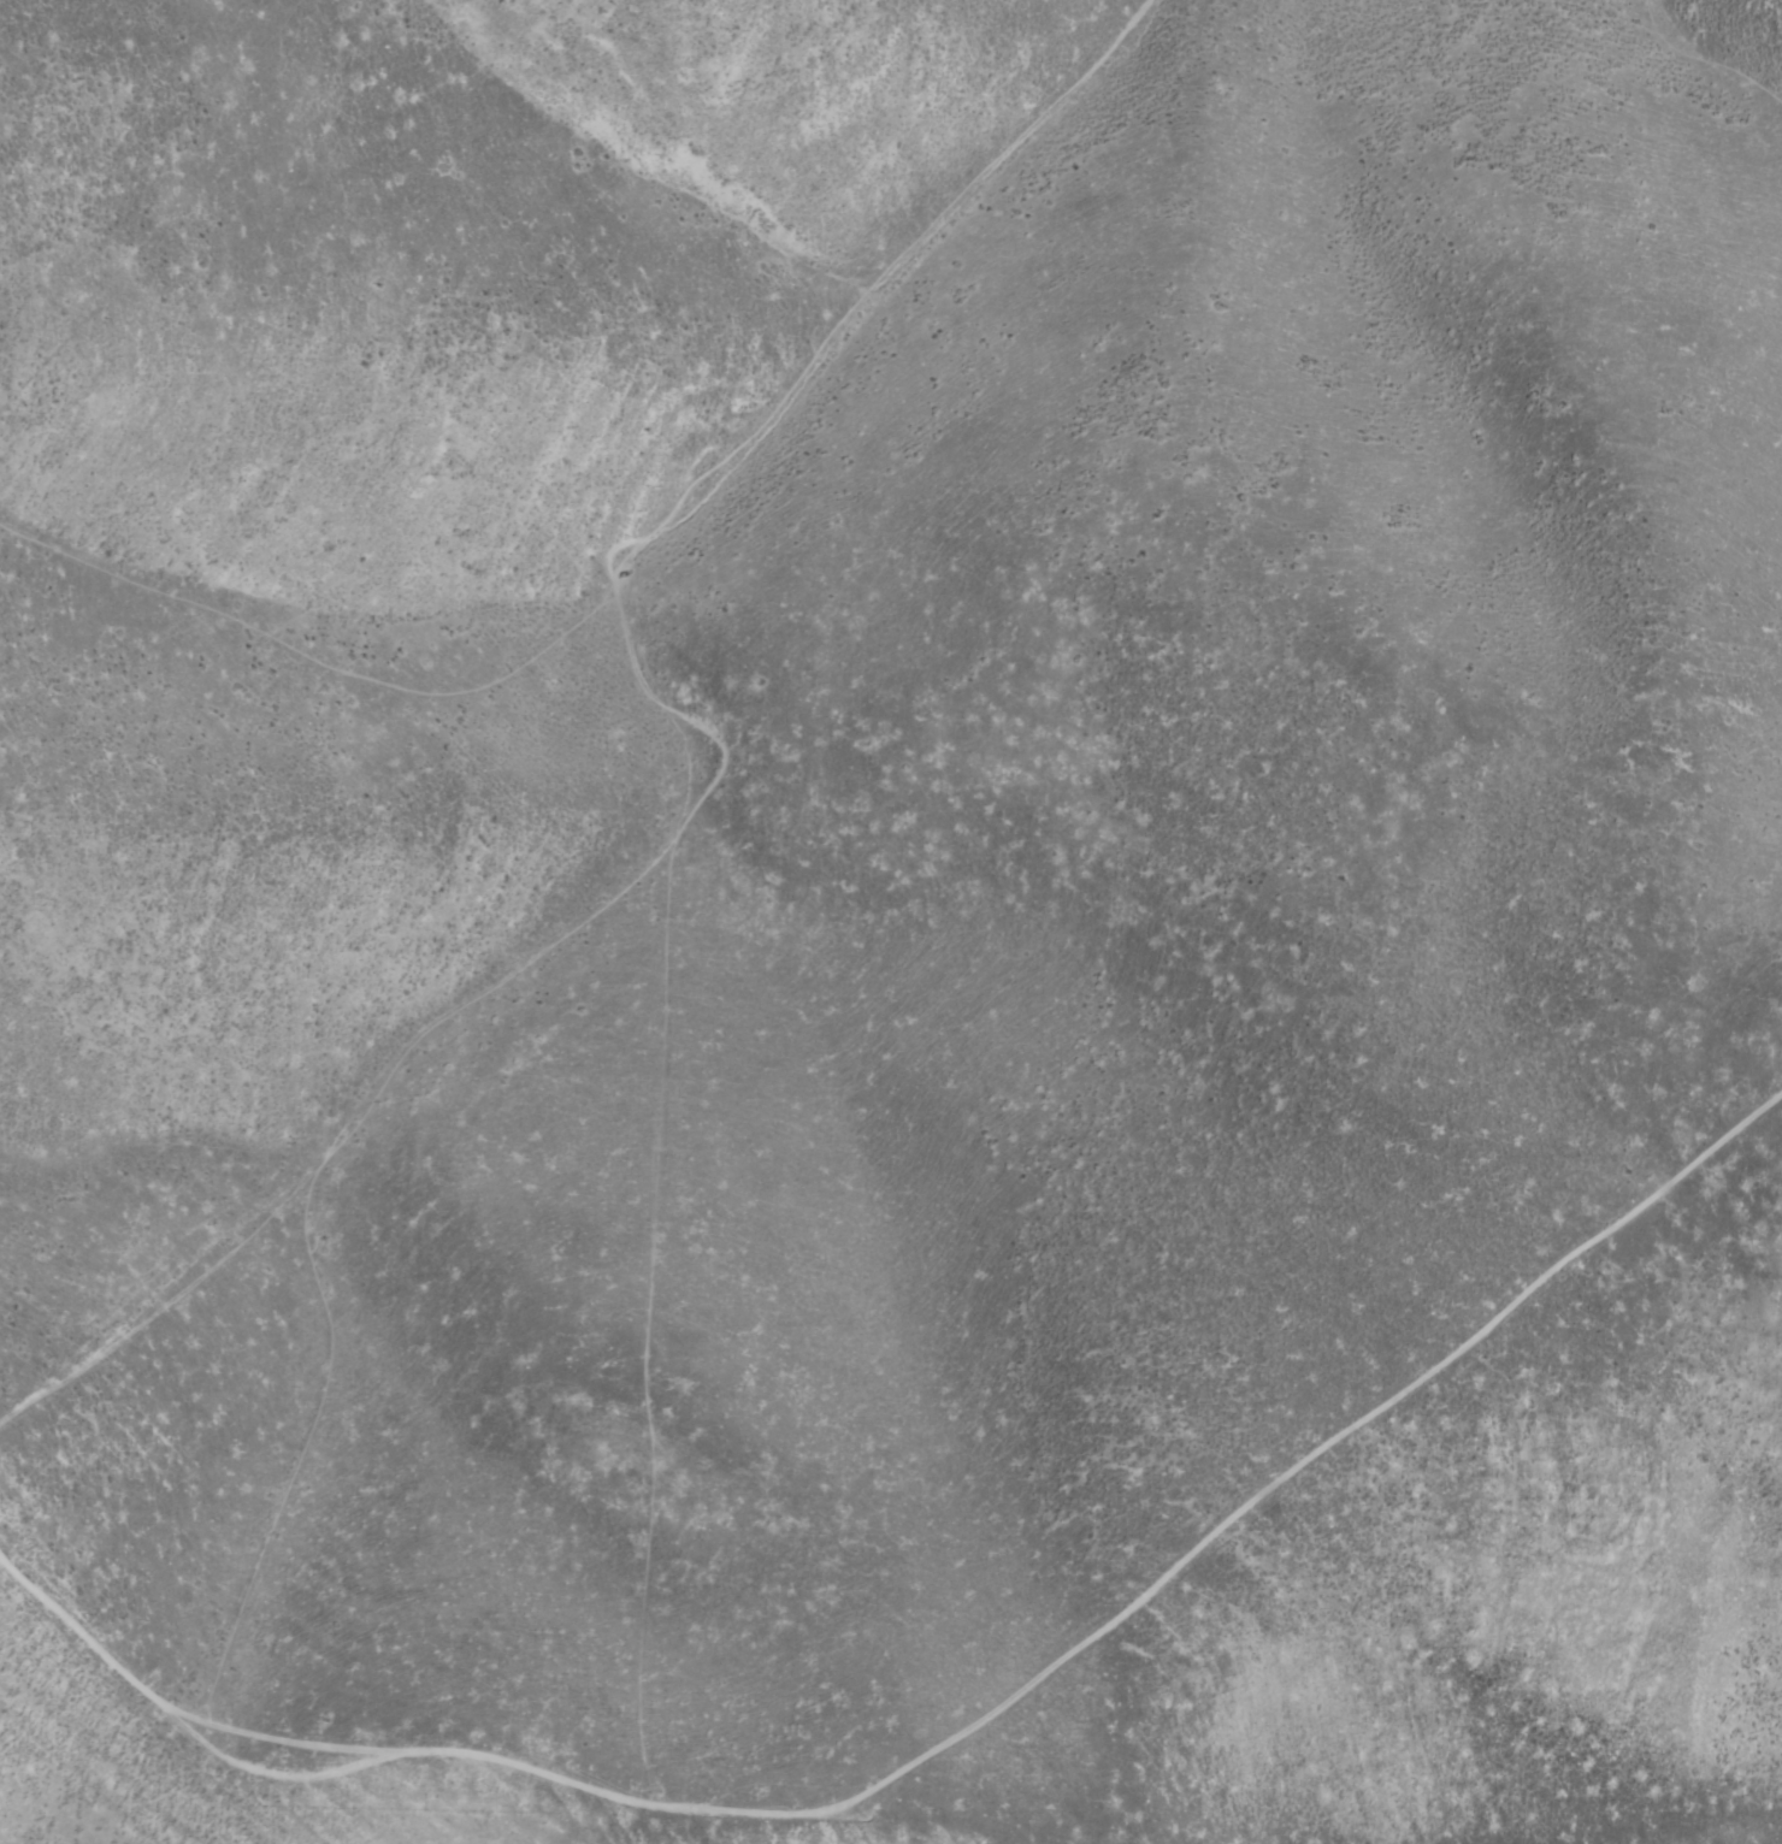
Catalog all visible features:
road: (948, 1751)

